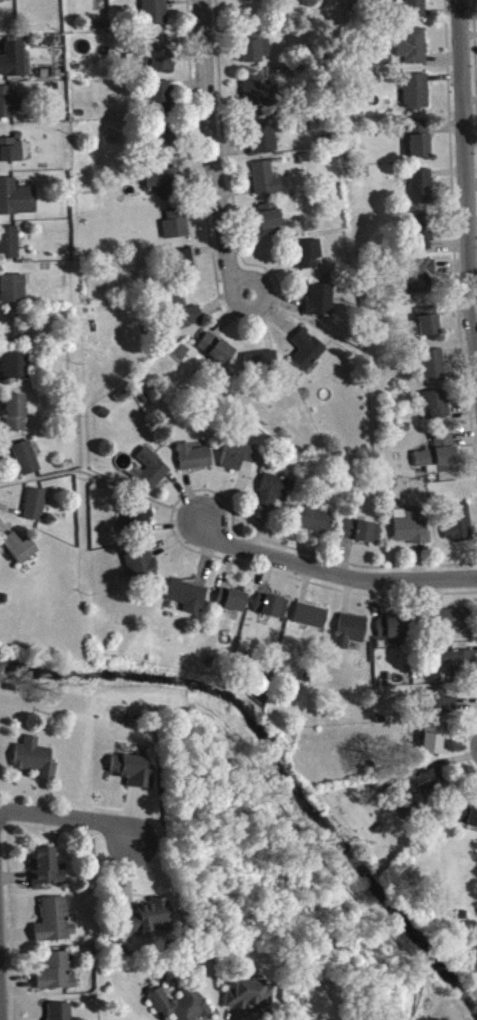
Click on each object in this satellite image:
building: (5, 1)
building: (414, 11)
building: (155, 16)
building: (255, 51)
building: (415, 51)
building: (155, 59)
building: (14, 65)
building: (417, 96)
building: (259, 99)
building: (162, 102)
building: (9, 107)
building: (263, 142)
building: (421, 144)
building: (166, 148)
road: (211, 153)
building: (11, 155)
road: (468, 171)
building: (266, 184)
building: (166, 188)
building: (422, 191)
building: (17, 203)
building: (270, 224)
building: (176, 230)
building: (423, 236)
building: (9, 247)
building: (309, 259)
building: (186, 269)
building: (422, 281)
building: (14, 293)
building: (321, 305)
building: (183, 319)
building: (429, 326)
building: (13, 332)
building: (216, 354)
building: (307, 355)
building: (262, 366)
building: (17, 371)
building: (435, 371)
building: (437, 408)
building: (16, 418)
building: (439, 460)
building: (238, 461)
building: (194, 462)
building: (27, 463)
building: (151, 476)
building: (274, 495)
building: (36, 509)
building: (139, 523)
building: (315, 525)
building: (459, 529)
building: (411, 532)
building: (361, 536)
building: (19, 553)
building: (140, 566)
road: (334, 573)
building: (188, 601)
building: (231, 605)
building: (271, 611)
building: (311, 621)
building: (452, 625)
building: (392, 635)
building: (350, 636)
building: (460, 666)
building: (438, 708)
building: (433, 745)
building: (35, 763)
building: (134, 776)
building: (429, 785)
road: (68, 817)
building: (468, 821)
building: (46, 874)
building: (151, 924)
building: (55, 926)
building: (56, 977)
building: (250, 1000)
building: (179, 1007)
building: (60, 1014)

